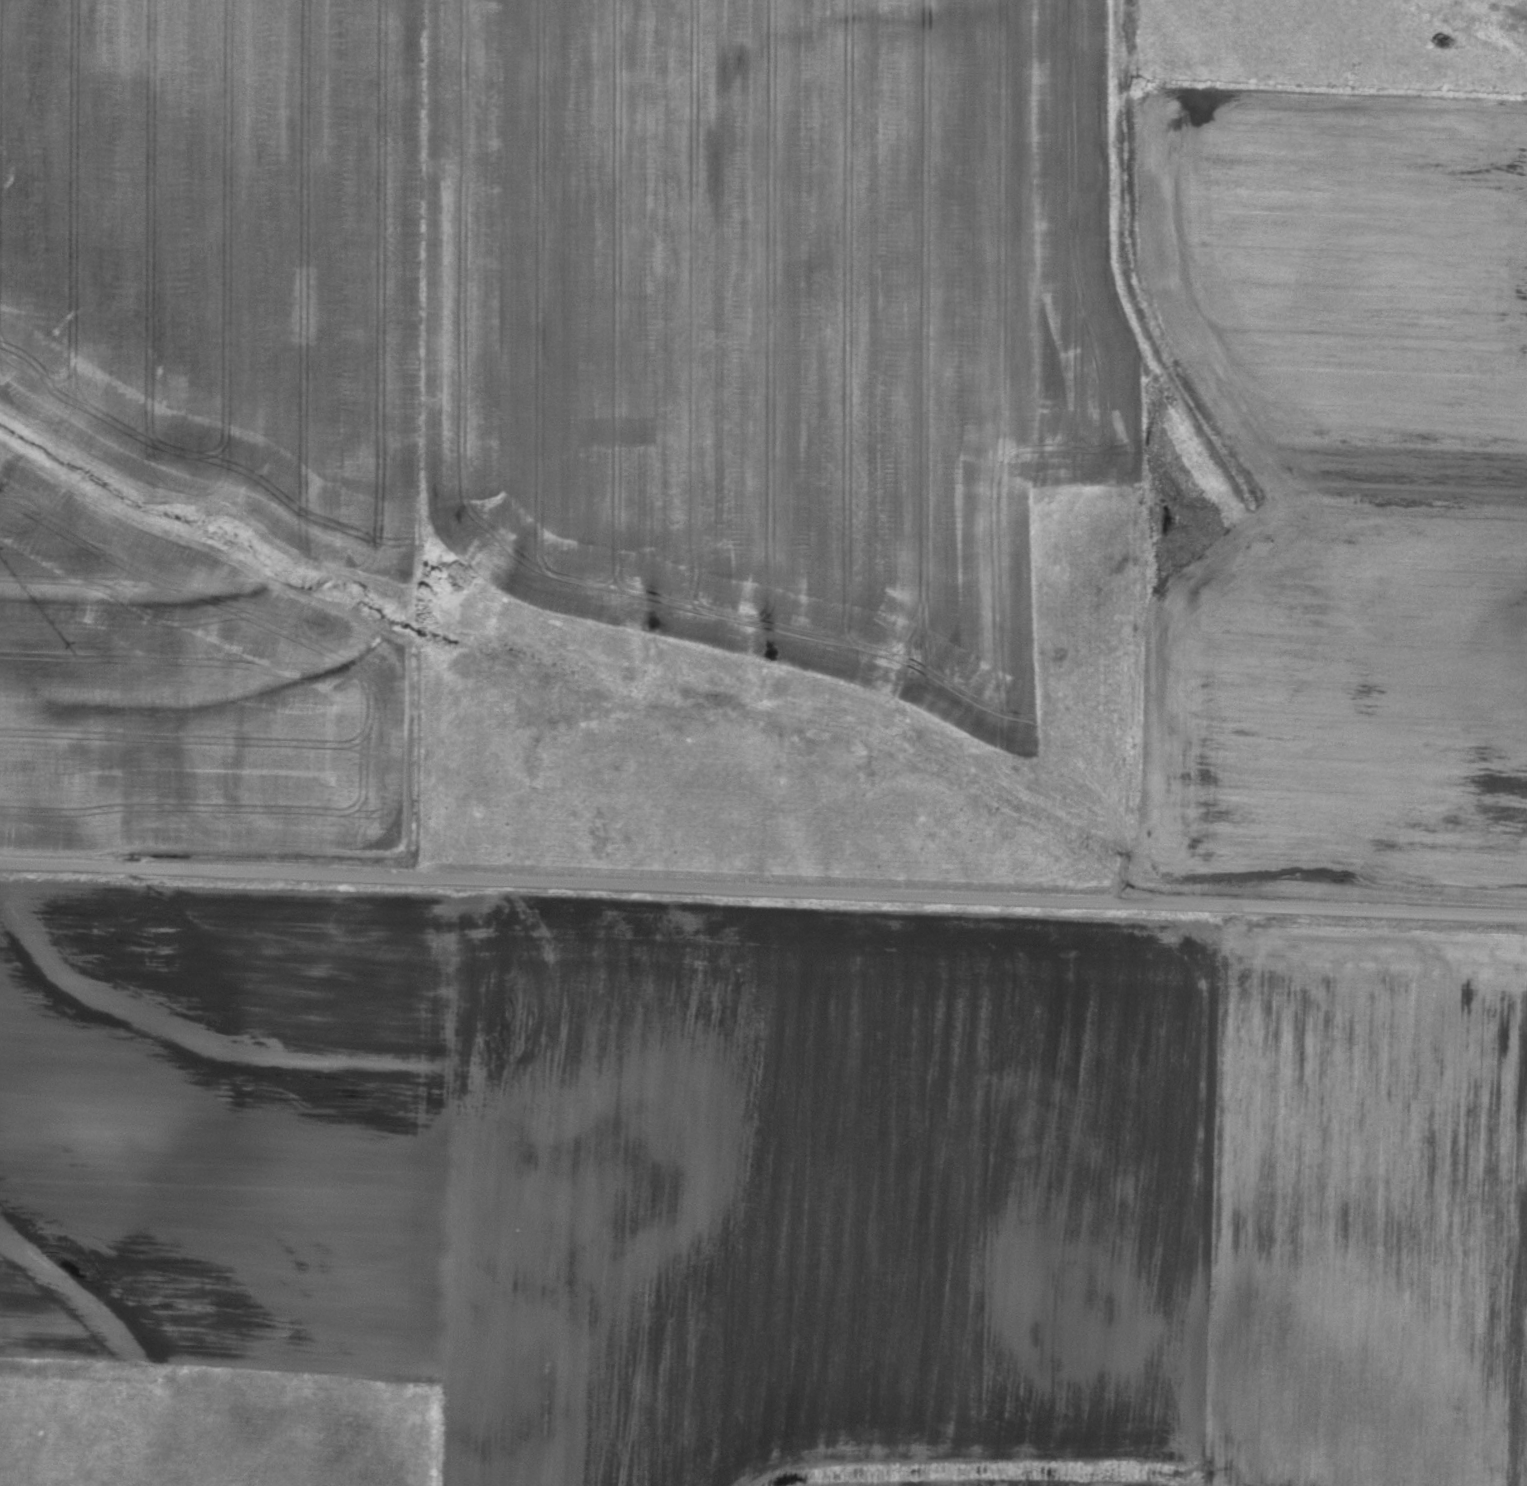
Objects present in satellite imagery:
road: (763, 889)

